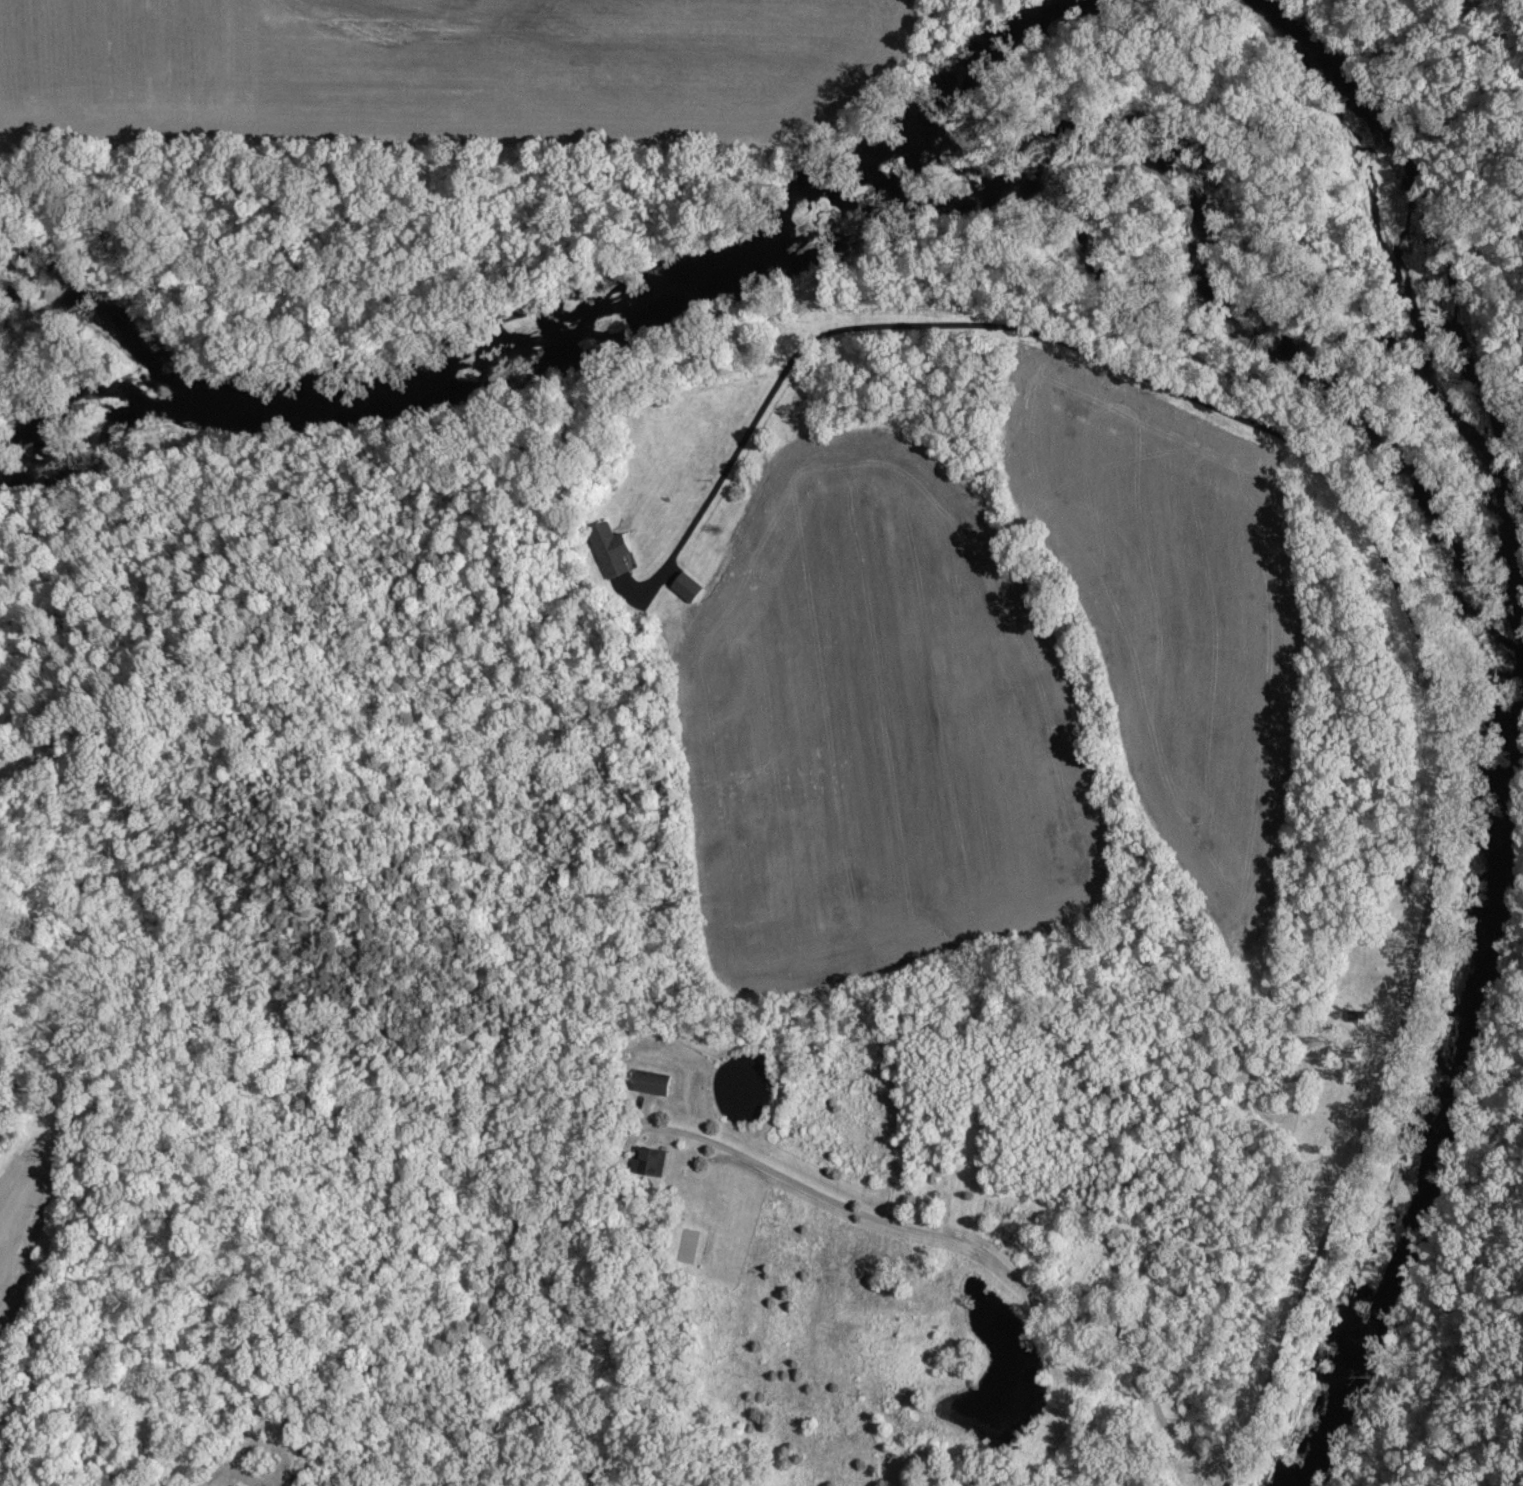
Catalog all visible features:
building: (611, 550)
building: (687, 587)
road: (1437, 722)
building: (653, 1083)
building: (650, 1163)
building: (234, 1485)

